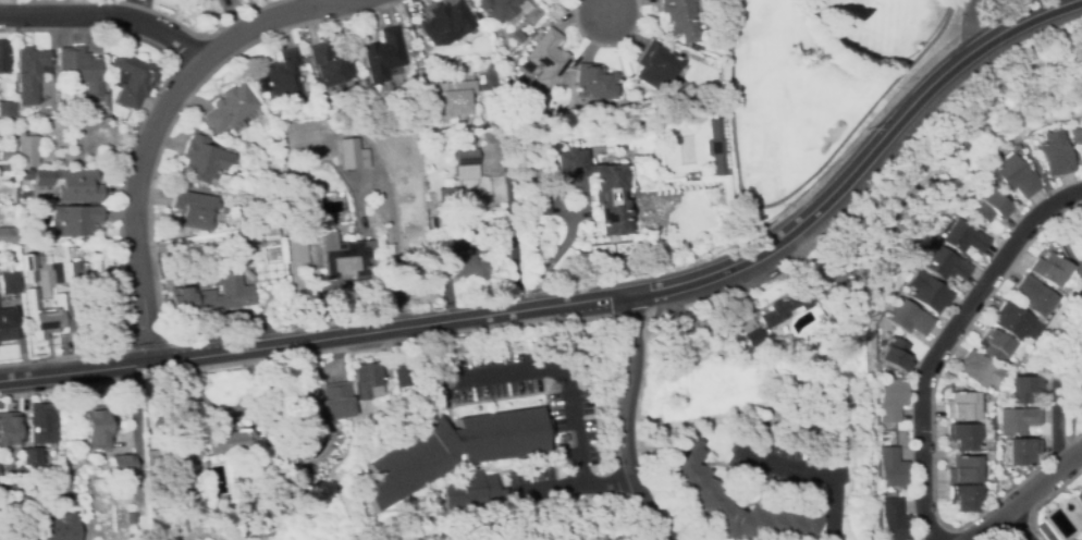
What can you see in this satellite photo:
road: (322, 1)
road: (610, 8)
road: (145, 9)
building: (502, 9)
road: (107, 16)
building: (680, 19)
building: (446, 24)
road: (972, 25)
building: (383, 56)
building: (3, 57)
building: (546, 58)
building: (329, 65)
building: (656, 65)
building: (82, 69)
building: (29, 73)
building: (279, 76)
building: (423, 77)
building: (133, 79)
building: (595, 82)
park: (814, 84)
building: (379, 87)
building: (106, 93)
building: (455, 99)
building: (230, 108)
building: (7, 109)
building: (63, 109)
building: (64, 121)
building: (490, 122)
building: (480, 123)
road: (151, 130)
building: (1077, 136)
building: (715, 147)
building: (27, 151)
building: (7, 154)
building: (1057, 154)
building: (349, 155)
building: (919, 155)
building: (202, 160)
building: (464, 164)
building: (2, 167)
building: (1018, 176)
building: (70, 184)
building: (599, 188)
building: (451, 194)
building: (536, 204)
building: (895, 205)
building: (992, 206)
building: (193, 210)
building: (76, 220)
building: (1080, 221)
building: (269, 231)
building: (1081, 234)
building: (9, 236)
building: (967, 237)
building: (337, 257)
building: (838, 259)
building: (458, 261)
building: (28, 262)
building: (948, 265)
building: (75, 269)
building: (1050, 269)
building: (10, 283)
road: (660, 285)
building: (931, 292)
building: (221, 293)
building: (1036, 296)
building: (785, 306)
building: (47, 314)
building: (911, 317)
building: (107, 319)
building: (1017, 322)
building: (8, 324)
building: (750, 336)
road: (945, 340)
building: (447, 345)
building: (995, 345)
building: (898, 354)
building: (892, 370)
road: (76, 371)
building: (983, 372)
building: (398, 373)
building: (362, 379)
building: (1023, 389)
building: (893, 398)
road: (573, 403)
building: (321, 404)
building: (962, 405)
building: (1017, 420)
building: (40, 424)
road: (625, 424)
road: (1062, 425)
building: (96, 427)
building: (9, 429)
building: (816, 430)
building: (964, 437)
building: (225, 440)
building: (454, 450)
building: (1021, 452)
building: (183, 454)
building: (164, 455)
building: (32, 456)
building: (121, 459)
building: (892, 467)
building: (307, 468)
building: (963, 469)
road: (824, 470)
building: (165, 471)
building: (696, 481)
road: (610, 482)
building: (470, 493)
building: (1079, 495)
building: (964, 498)
road: (1029, 500)
building: (894, 520)
building: (62, 527)
road: (1019, 528)
building: (17, 533)

